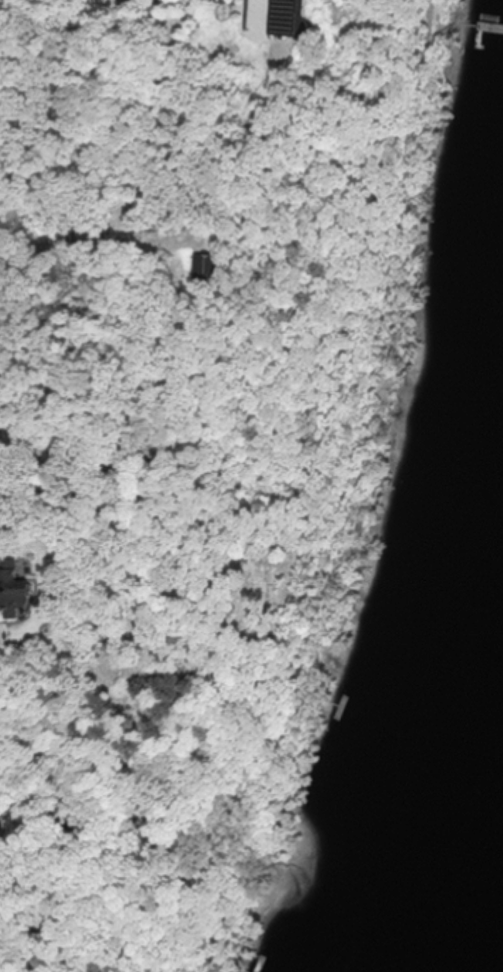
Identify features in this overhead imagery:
building: (287, 17)
building: (70, 220)
road: (97, 235)
building: (209, 270)
building: (16, 588)
river: (490, 940)

